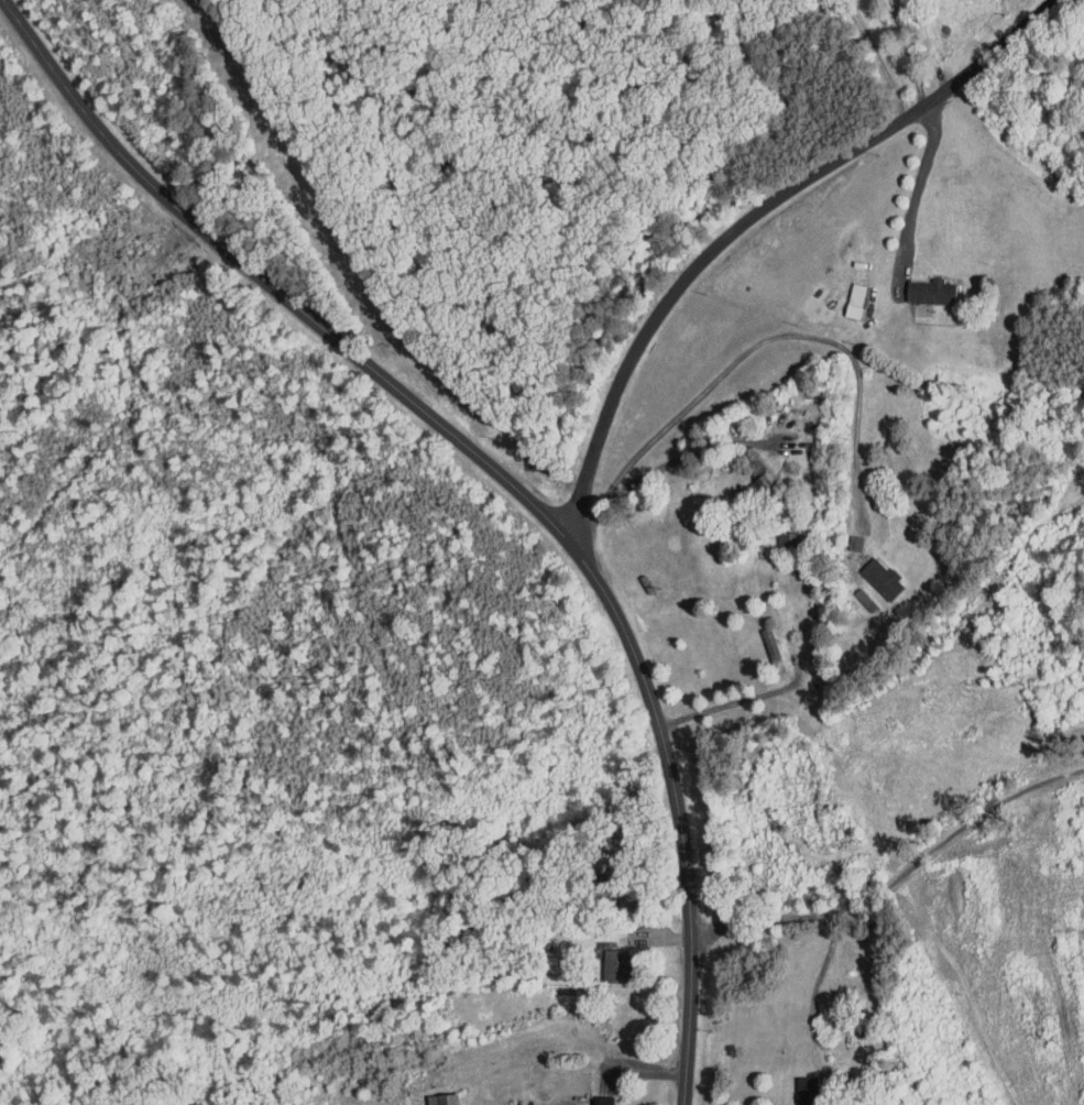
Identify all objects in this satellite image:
road: (899, 48)
road: (866, 55)
road: (907, 177)
road: (741, 222)
building: (916, 284)
building: (841, 294)
road: (762, 343)
road: (692, 453)
road: (499, 474)
building: (745, 475)
building: (774, 533)
building: (867, 572)
road: (732, 701)
road: (953, 834)
road: (758, 922)
building: (601, 960)
road: (813, 1008)
building: (792, 1087)
building: (428, 1096)
building: (589, 1097)

